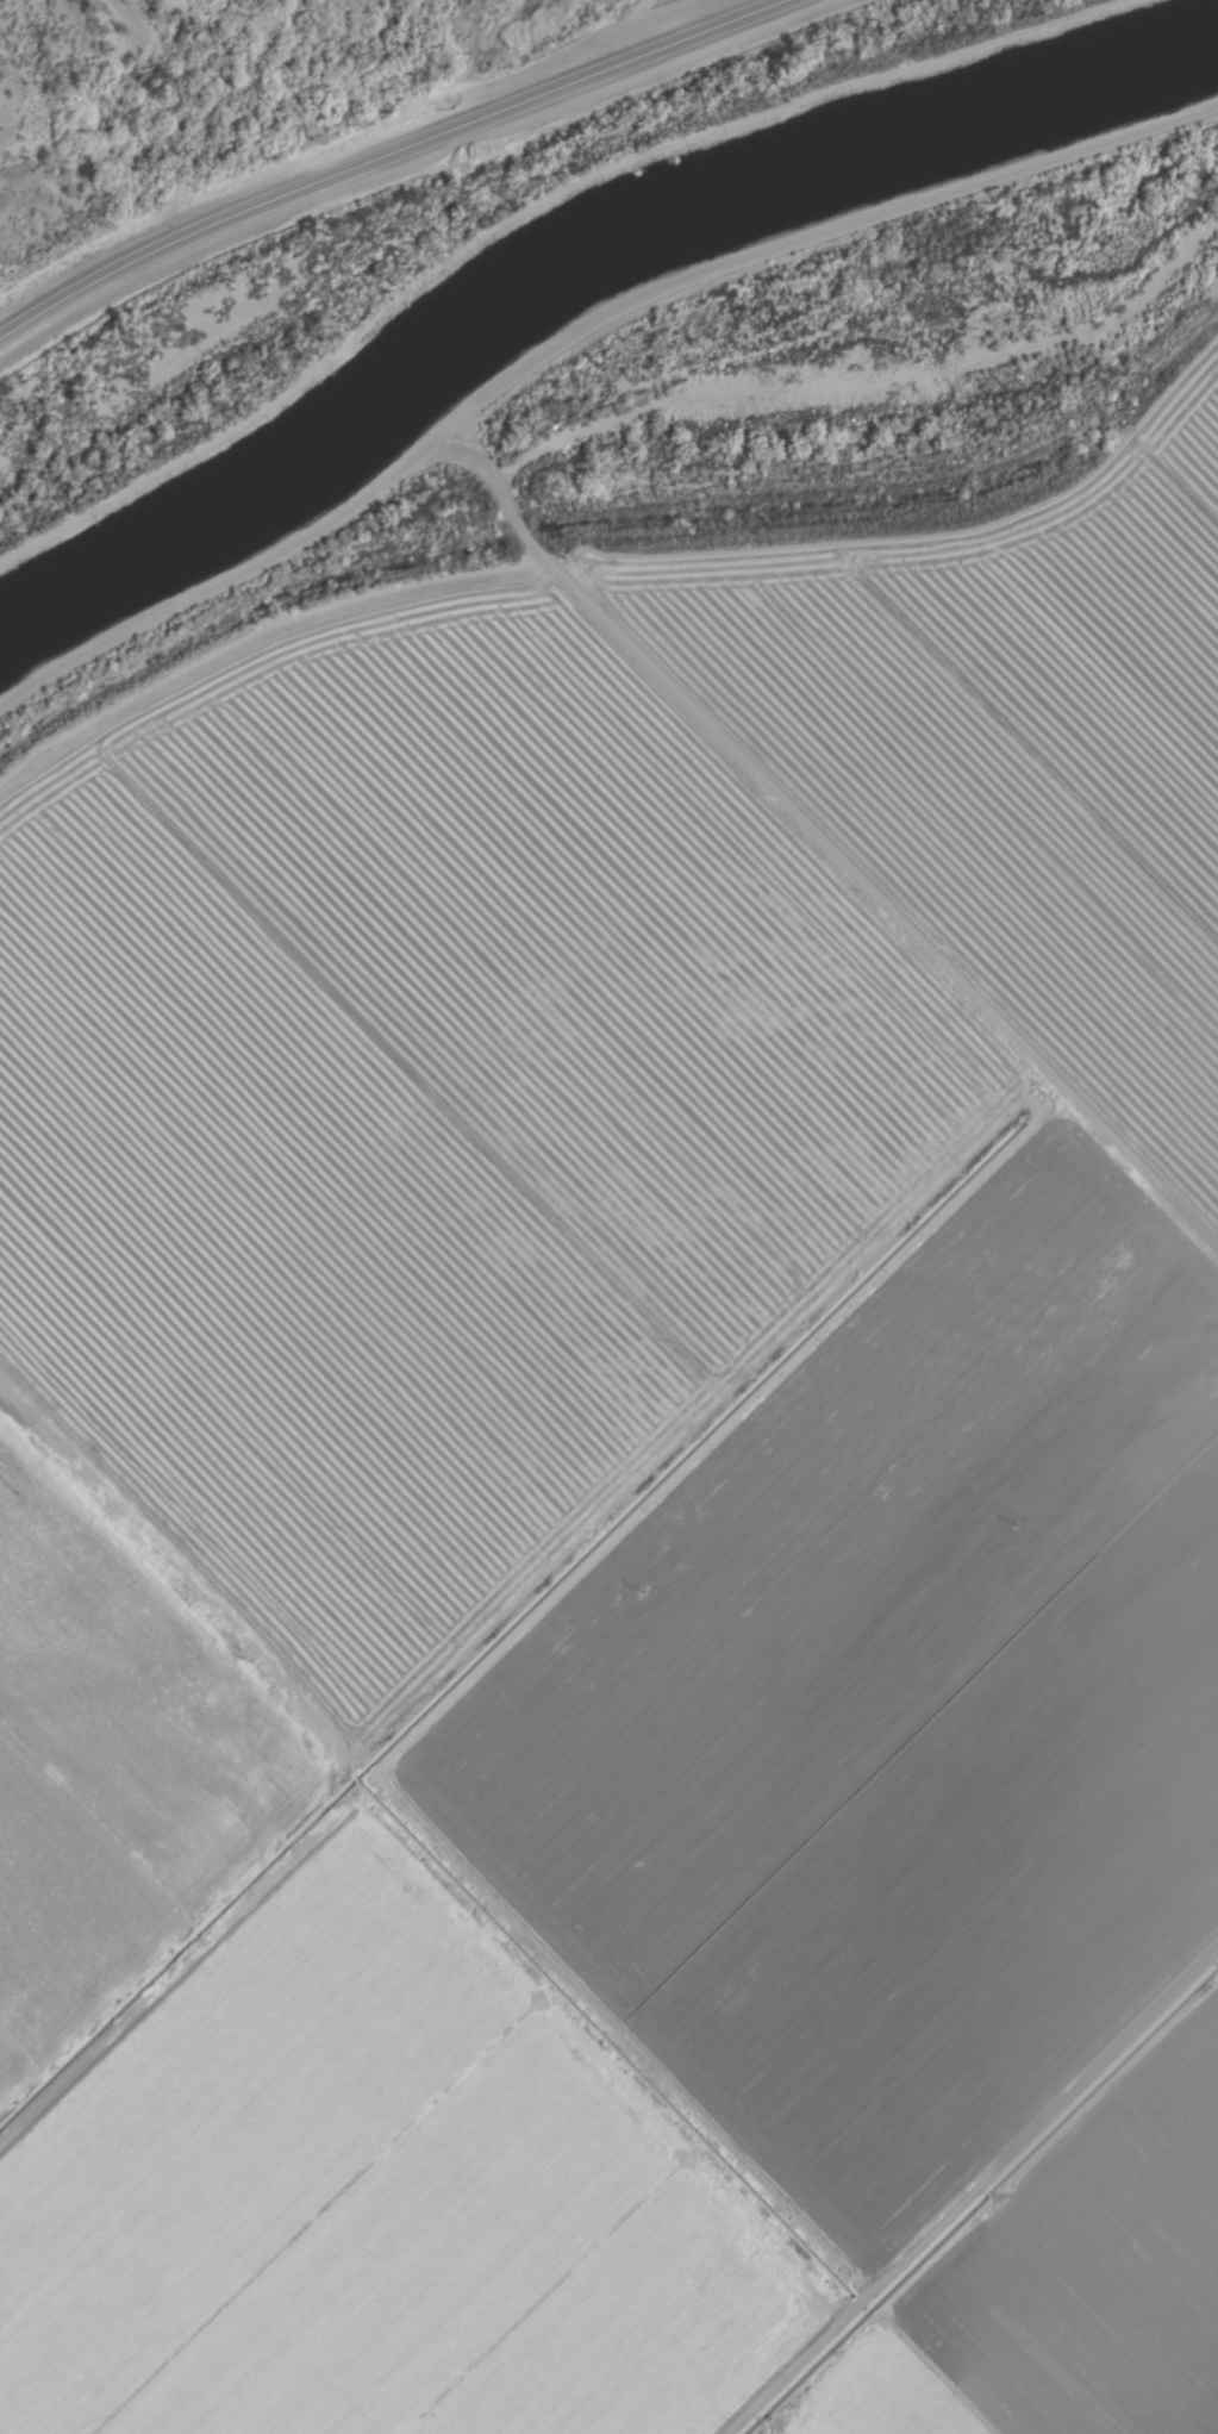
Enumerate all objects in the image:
road: (393, 158)
crop: (1022, 750)

